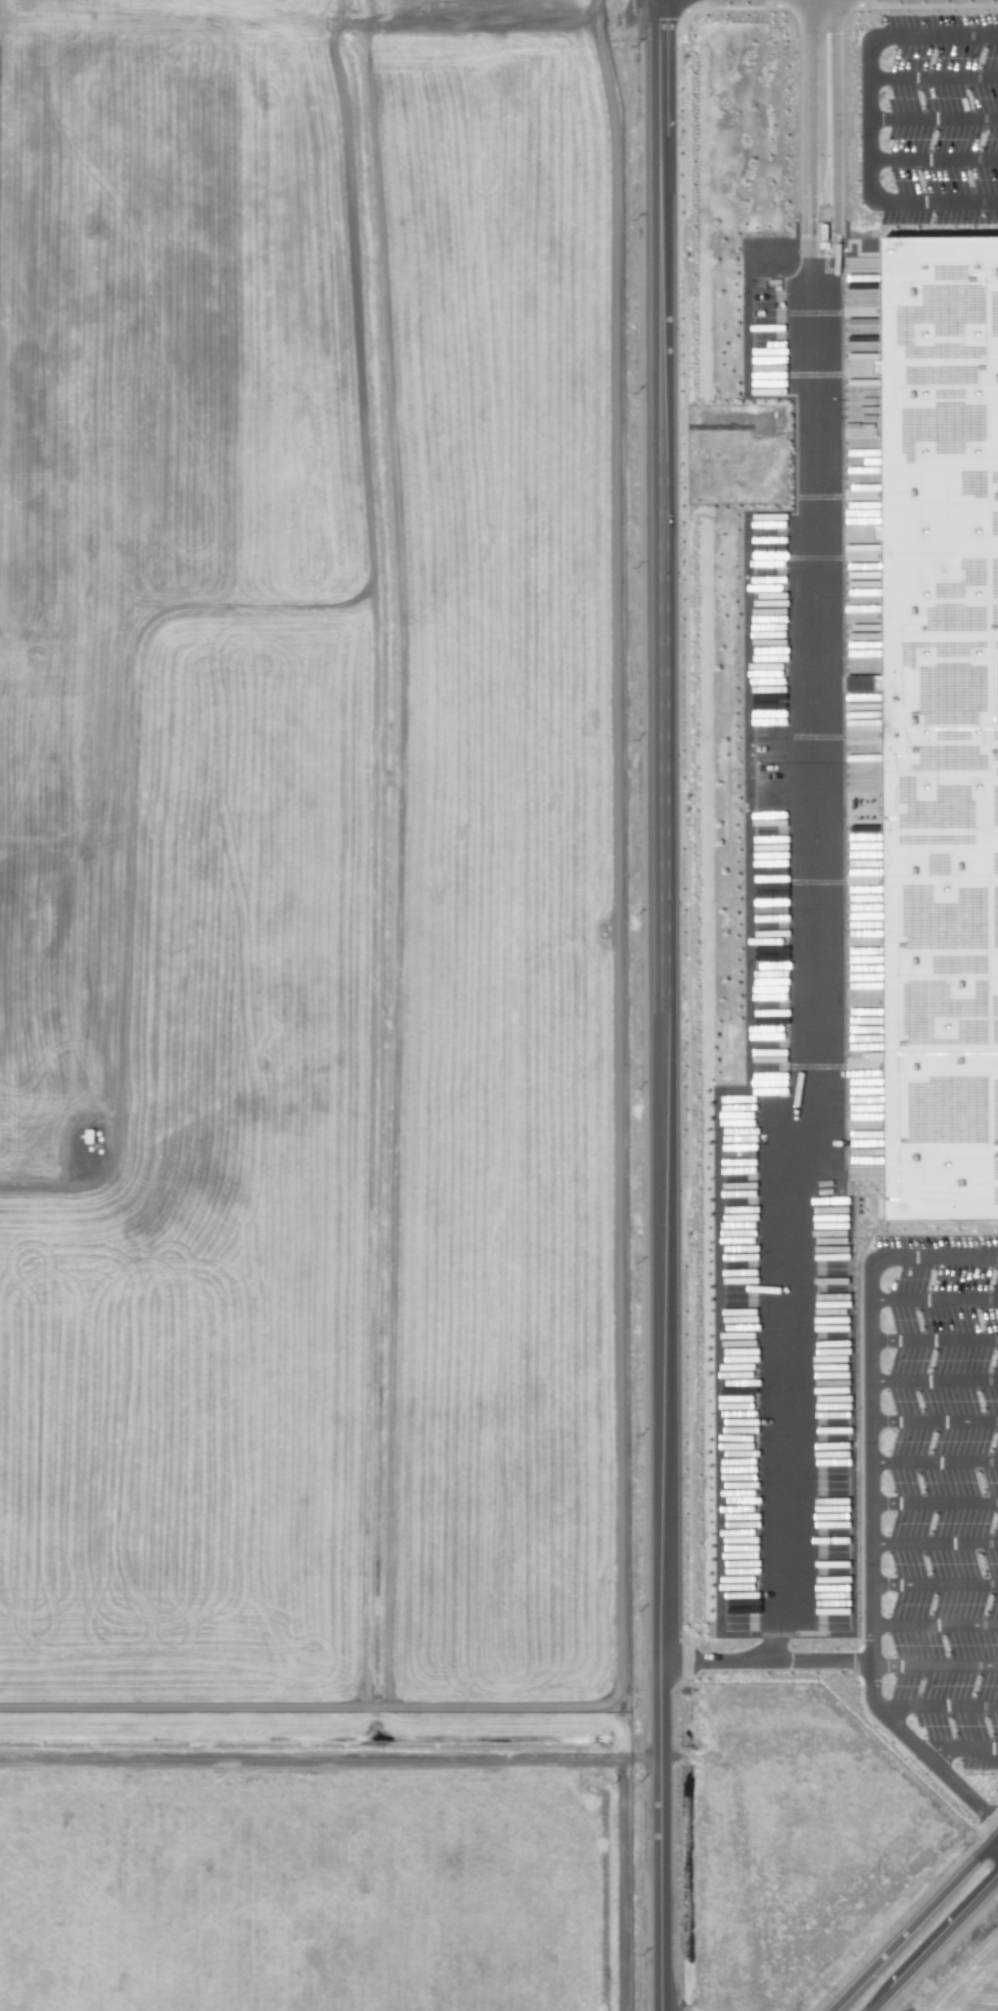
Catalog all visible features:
road: (933, 77)
road: (933, 118)
road: (869, 119)
road: (933, 158)
road: (685, 687)
building: (943, 732)
road: (819, 834)
road: (658, 1005)
airport: (311, 1007)
road: (37, 1185)
road: (943, 1222)
road: (933, 1302)
road: (933, 1342)
road: (933, 1382)
road: (868, 1415)
road: (933, 1422)
road: (933, 1464)
parking lot: (945, 1486)
road: (933, 1506)
road: (933, 1547)
road: (934, 1586)
road: (934, 1625)
road: (766, 1658)
road: (935, 1672)
road: (941, 1709)
railway: (499, 1730)
road: (960, 1748)
road: (935, 1761)
road: (330, 1762)
road: (987, 1818)
road: (914, 1918)
road: (933, 1941)

